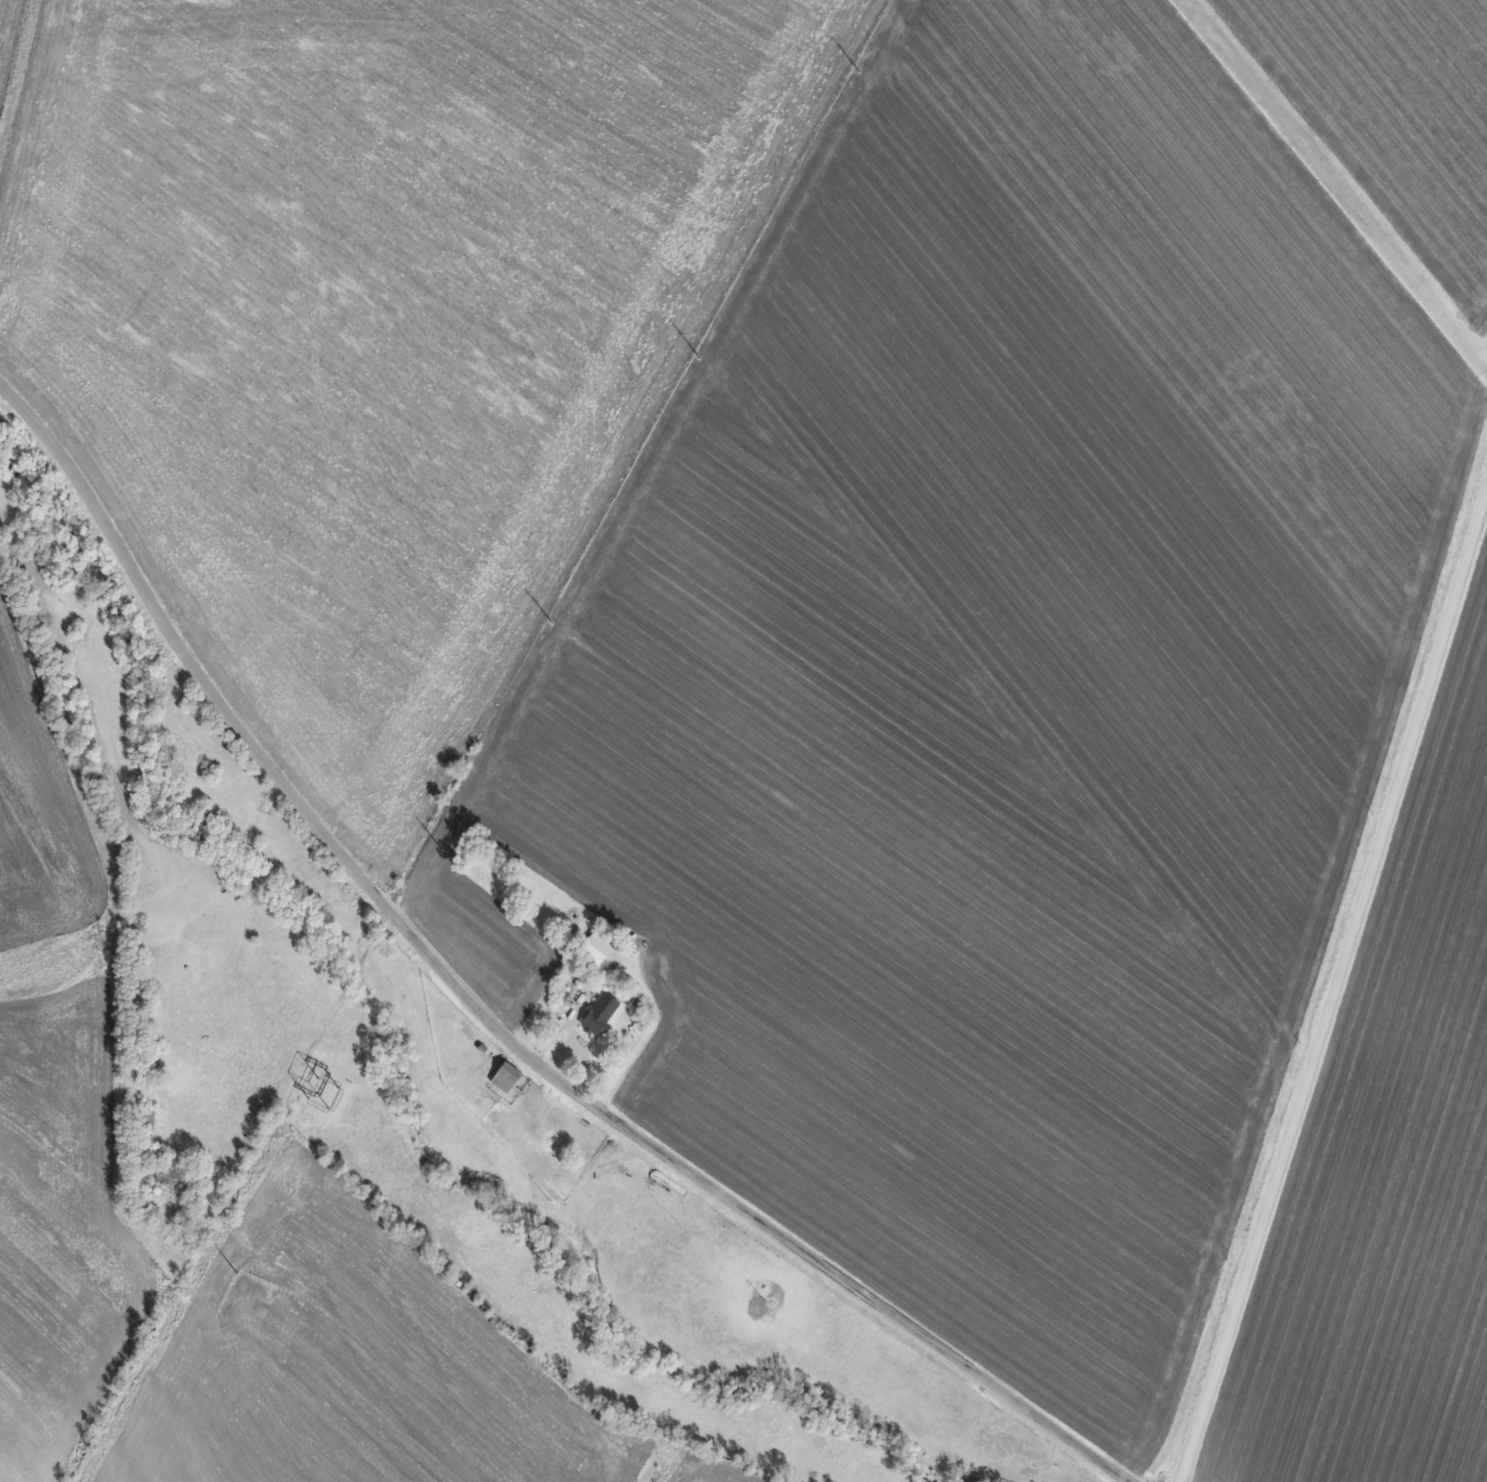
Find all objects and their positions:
power tower: (856, 73)
power tower: (696, 359)
power tower: (549, 624)
power tower: (439, 850)
building: (595, 948)
road: (1333, 985)
building: (599, 1013)
road: (482, 1016)
building: (503, 1079)
power tower: (232, 1275)

